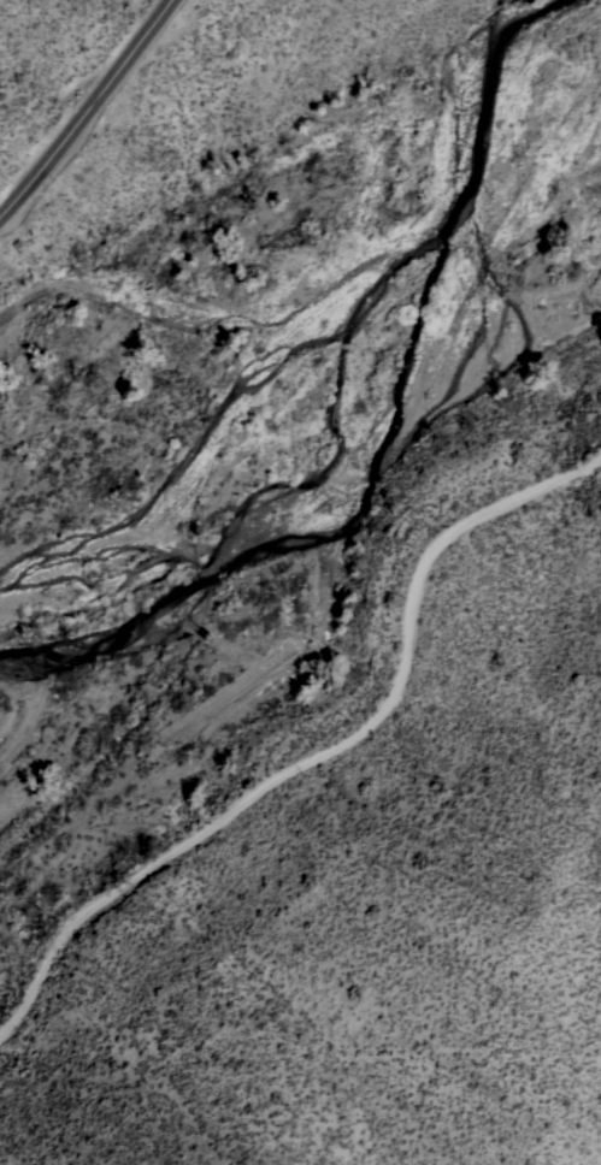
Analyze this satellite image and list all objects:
road: (89, 111)
road: (323, 761)

